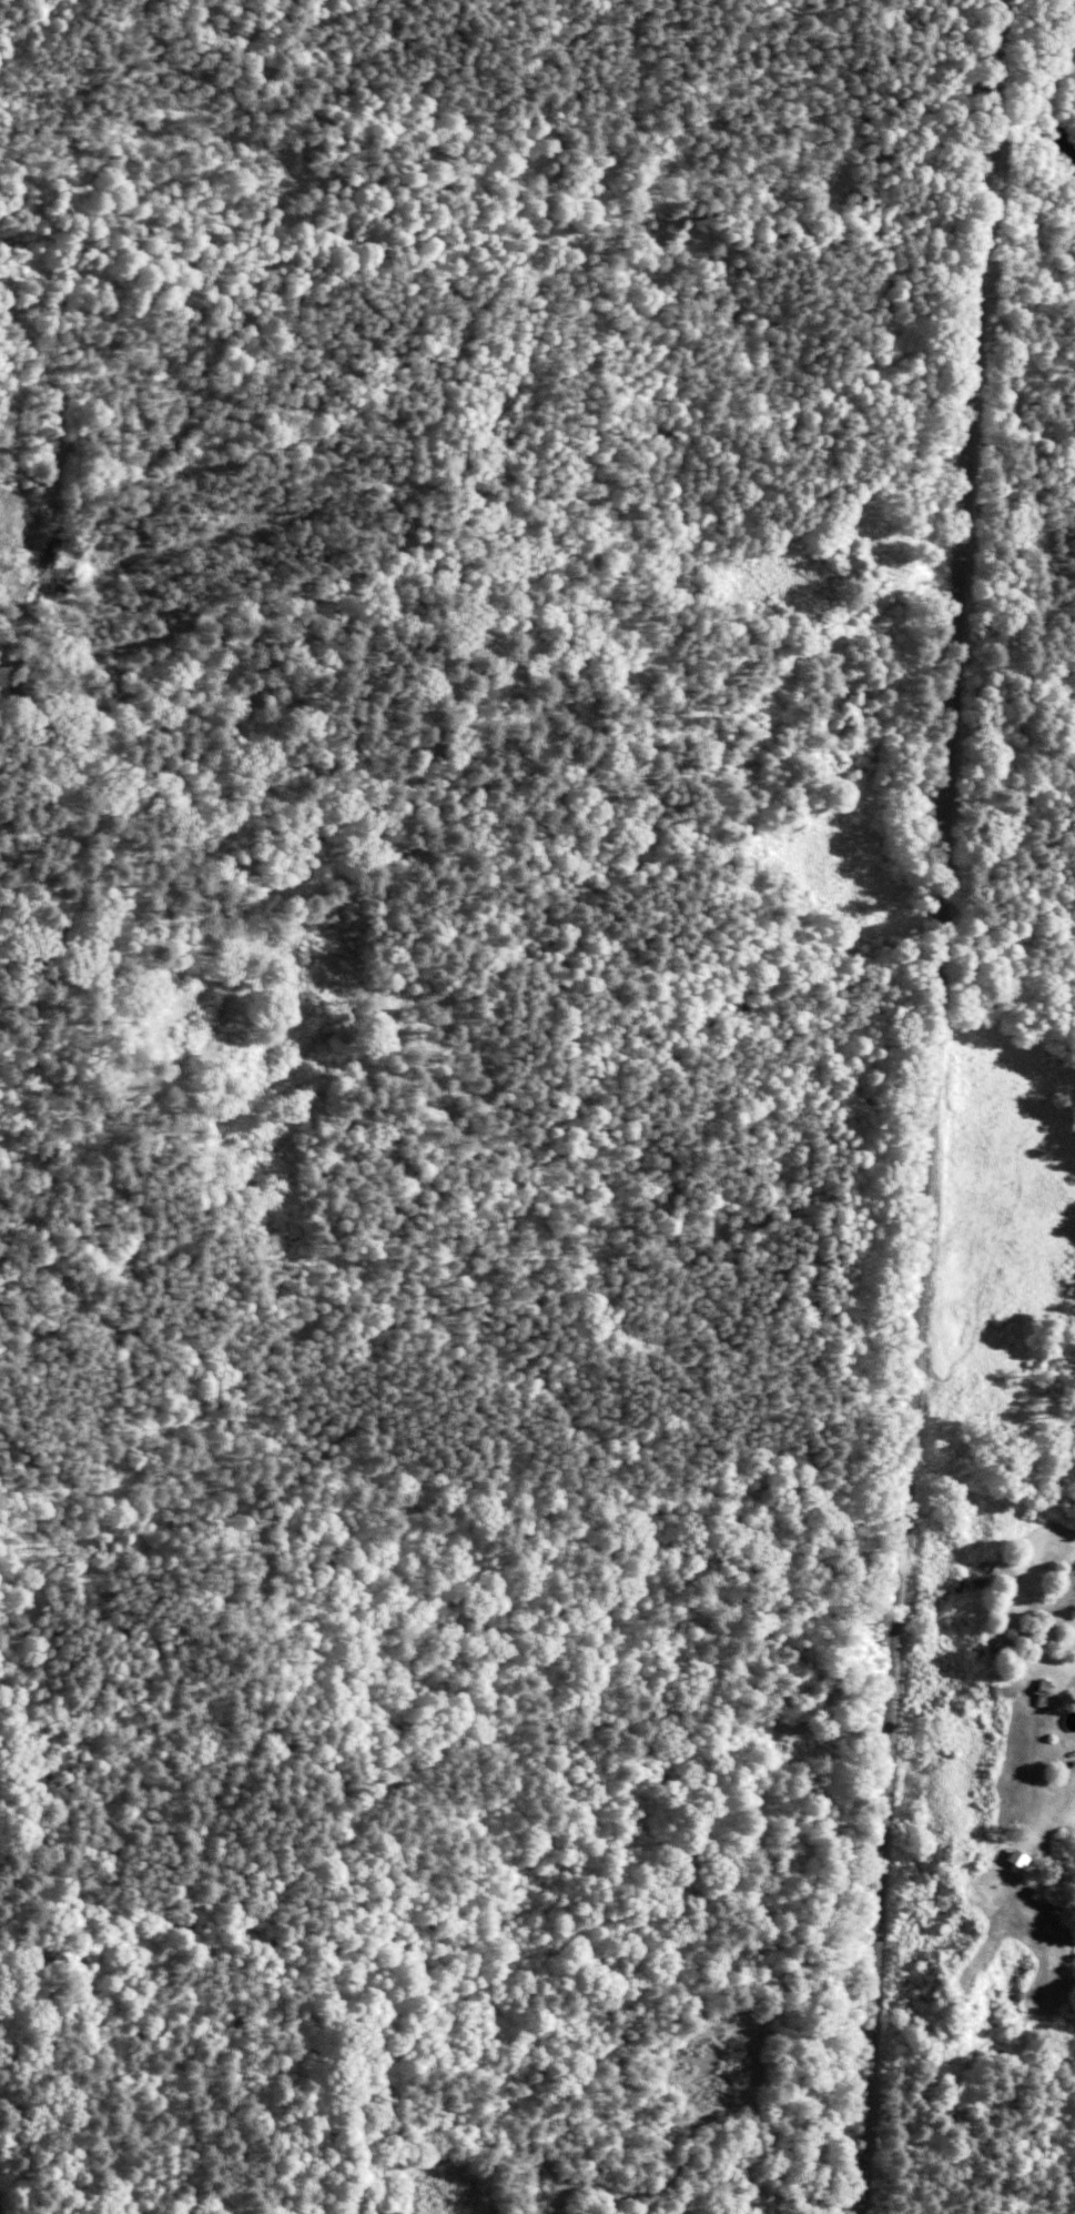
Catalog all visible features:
road: (1055, 879)
park: (409, 907)
railway: (939, 1107)
building: (1037, 1691)

